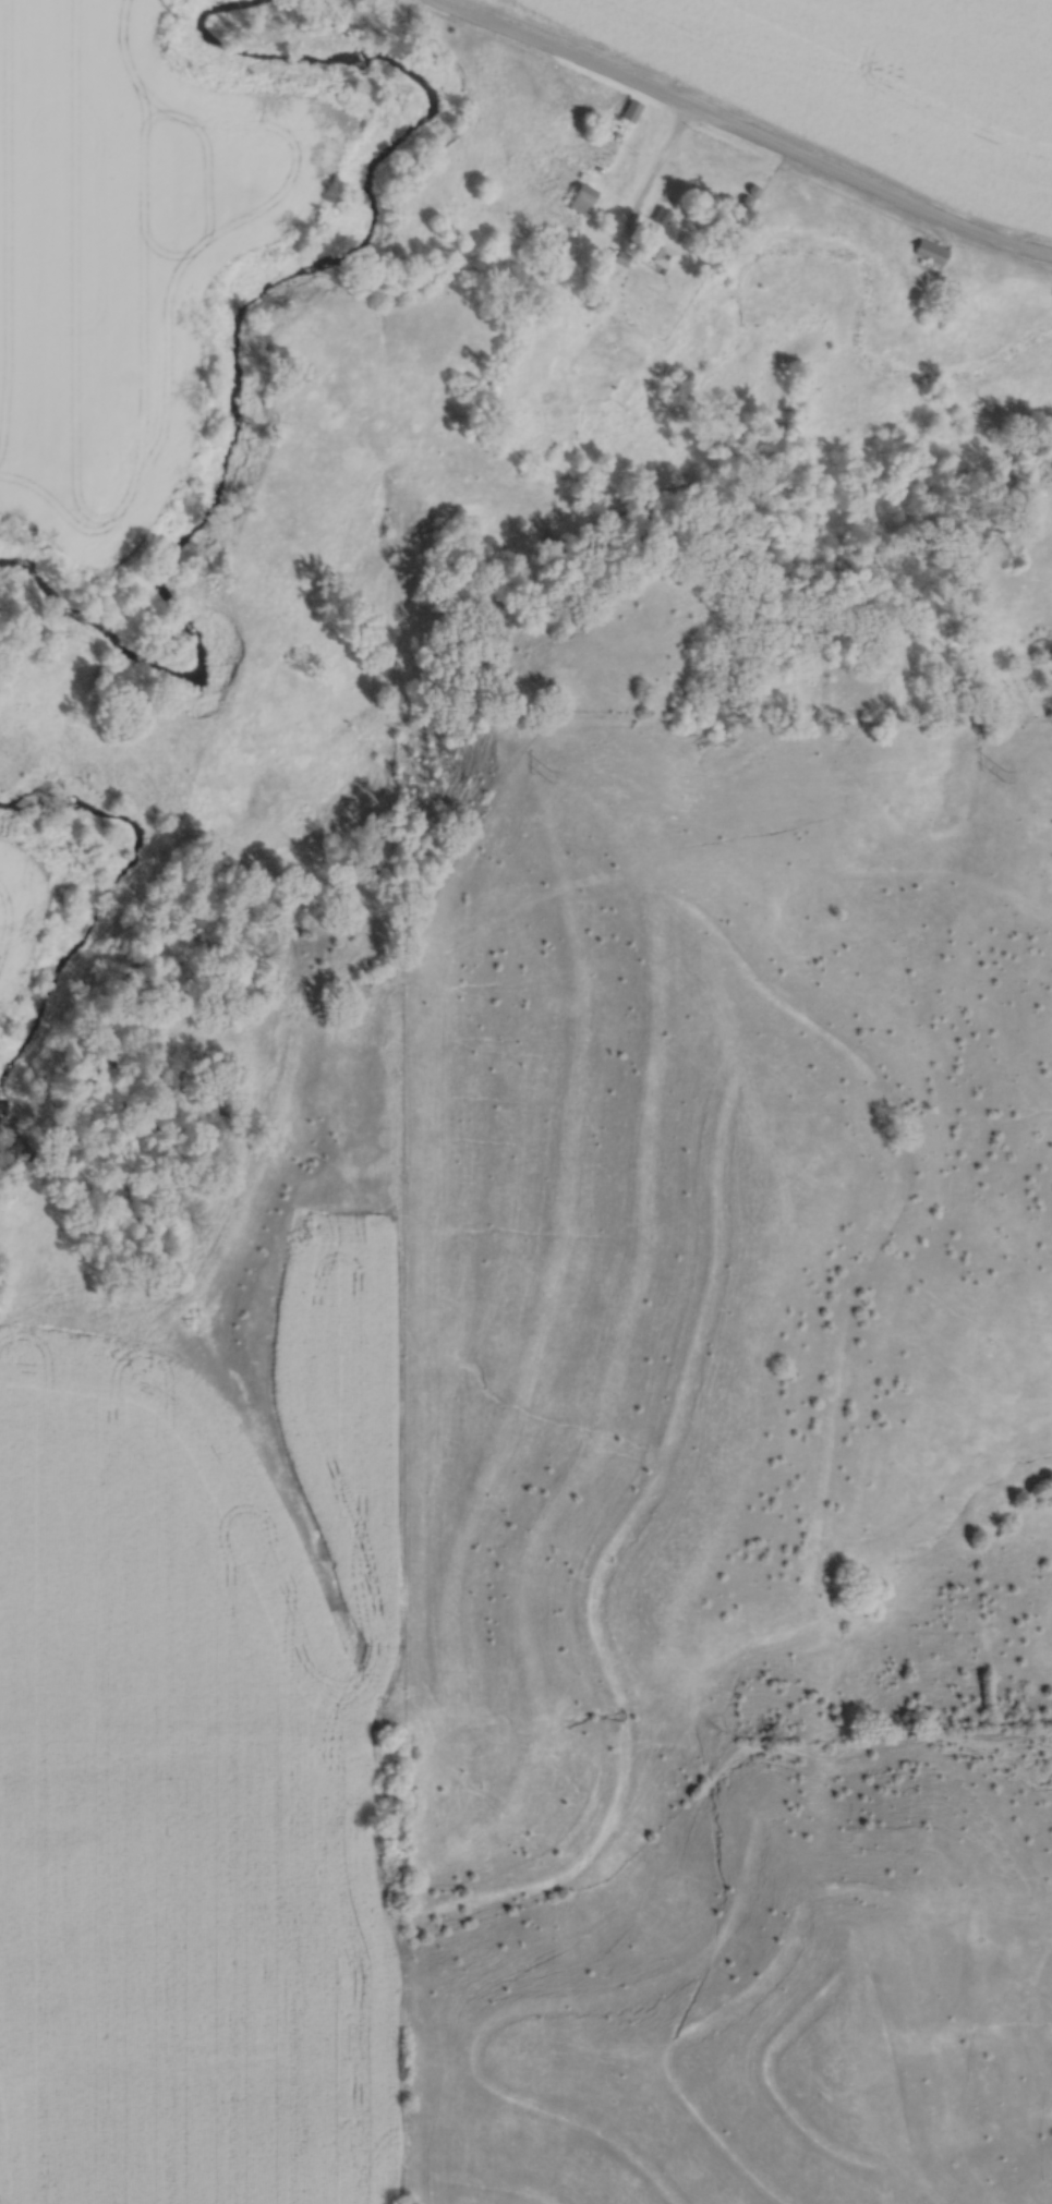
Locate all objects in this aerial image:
building: (629, 109)
road: (743, 133)
road: (650, 173)
building: (747, 196)
building: (581, 198)
building: (661, 216)
building: (929, 250)
building: (658, 256)
building: (619, 257)
power tower: (1004, 775)
power tower: (552, 776)

